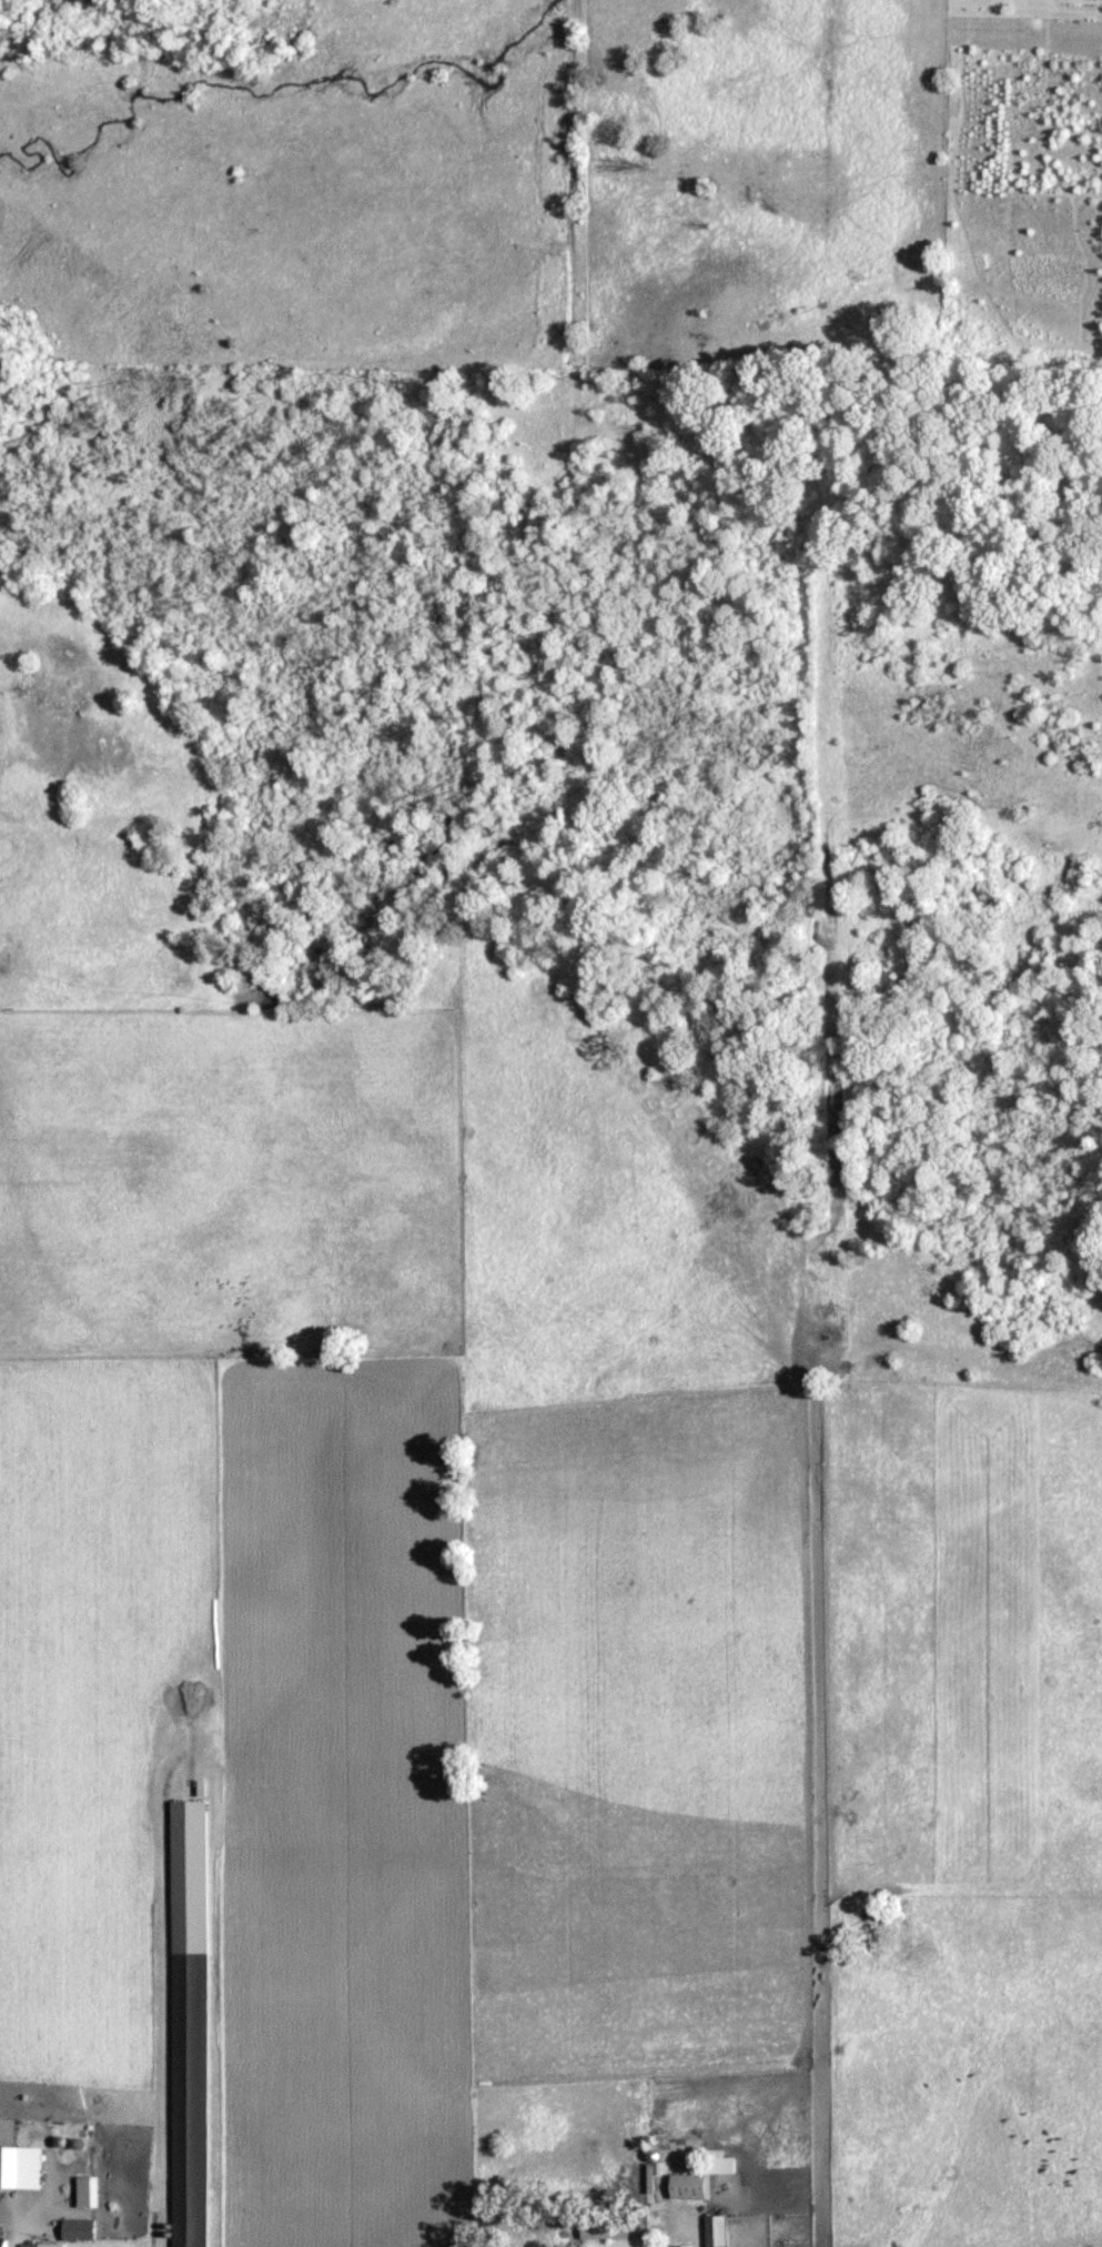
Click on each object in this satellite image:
building: (190, 2098)
building: (20, 2166)
building: (702, 2175)
building: (605, 2227)
building: (79, 2229)
building: (716, 2230)
building: (32, 2239)
building: (2, 2244)
building: (683, 2246)

